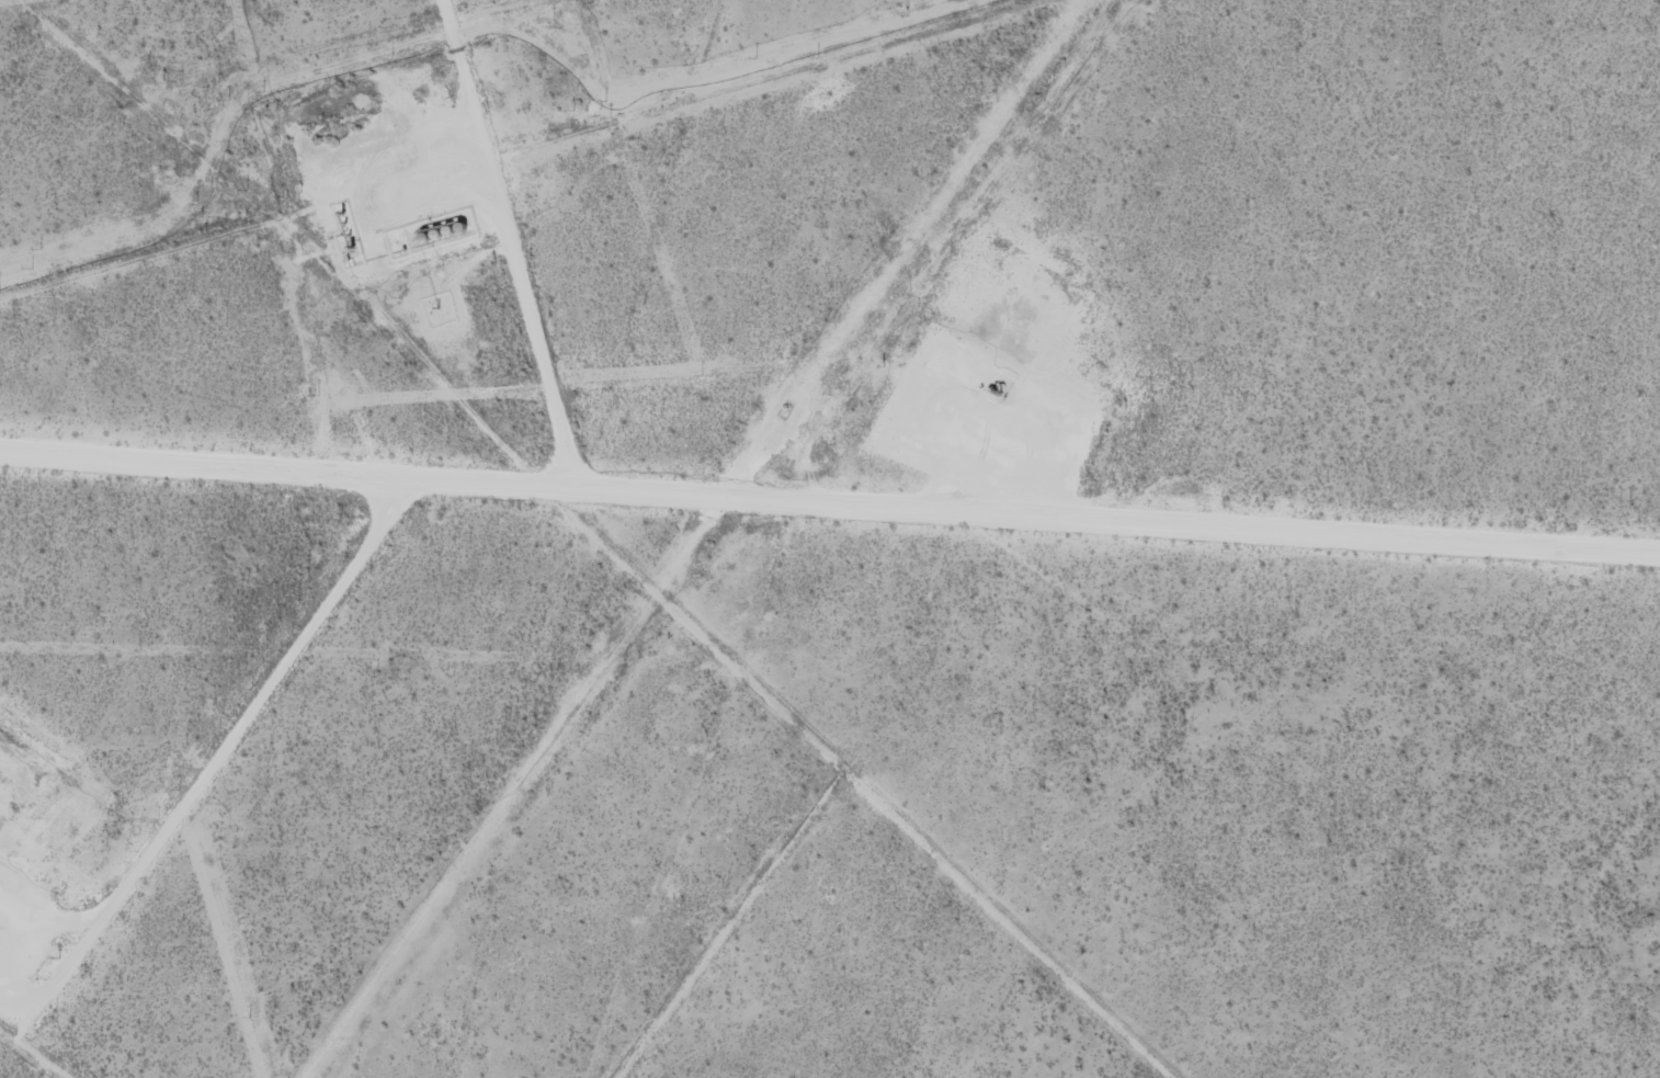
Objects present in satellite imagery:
petroleum well: (987, 389)
road: (830, 491)

